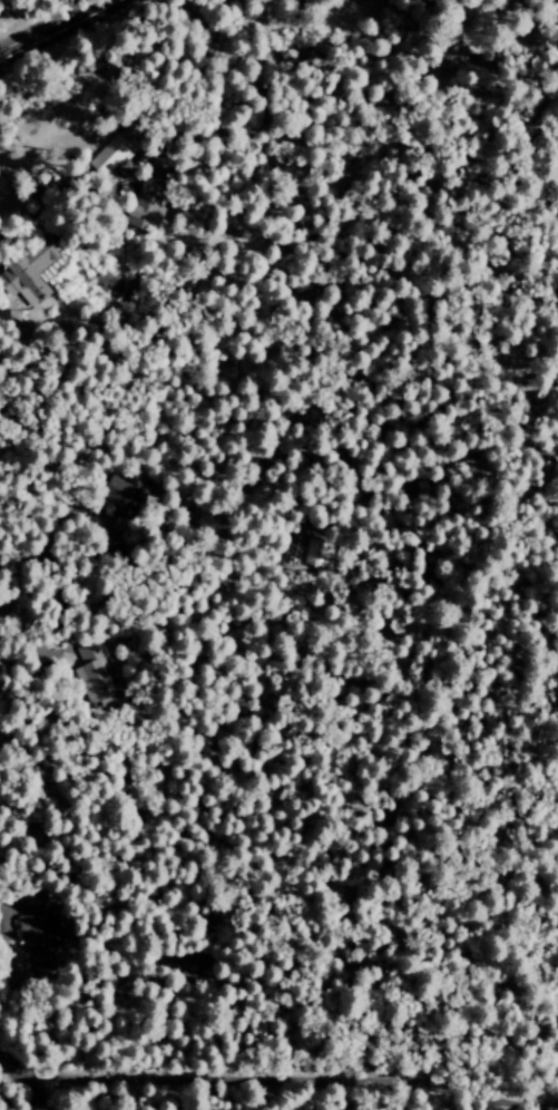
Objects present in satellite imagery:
road: (335, 6)
road: (282, 14)
road: (57, 30)
building: (110, 154)
building: (52, 267)
building: (27, 270)
building: (94, 674)
building: (37, 944)
road: (285, 1079)
road: (20, 1085)

